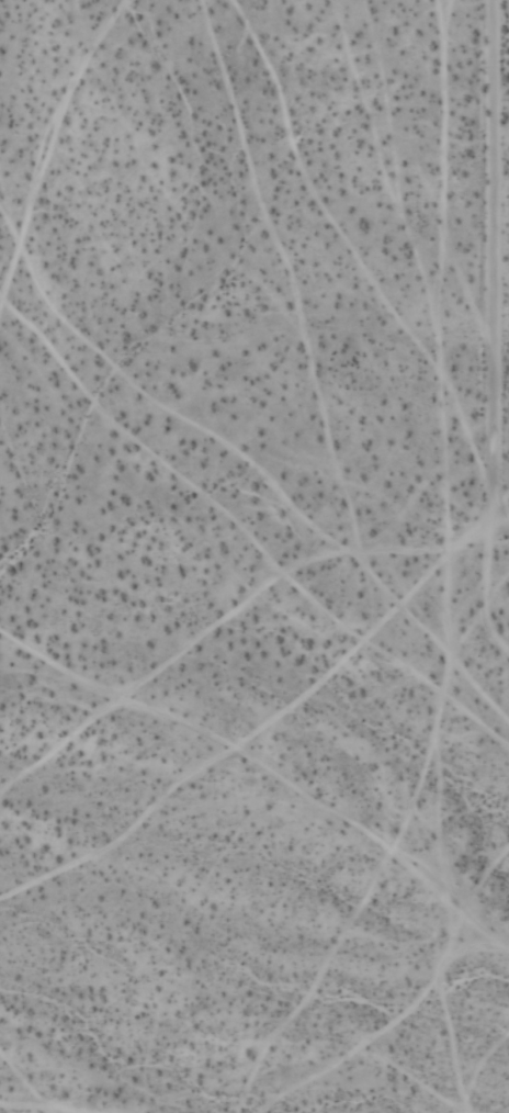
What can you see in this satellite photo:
road: (494, 260)
crop: (470, 407)

